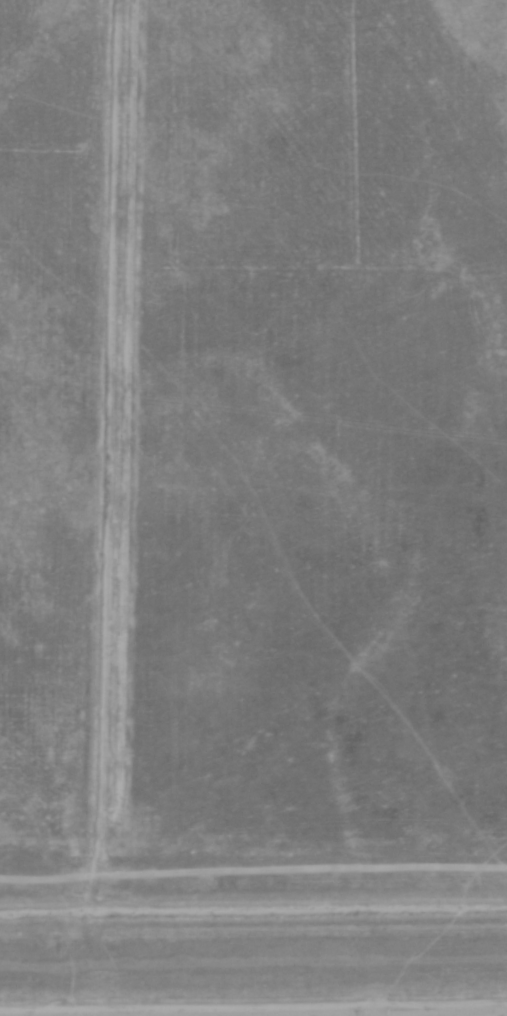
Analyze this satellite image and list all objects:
crop: (249, 997)

